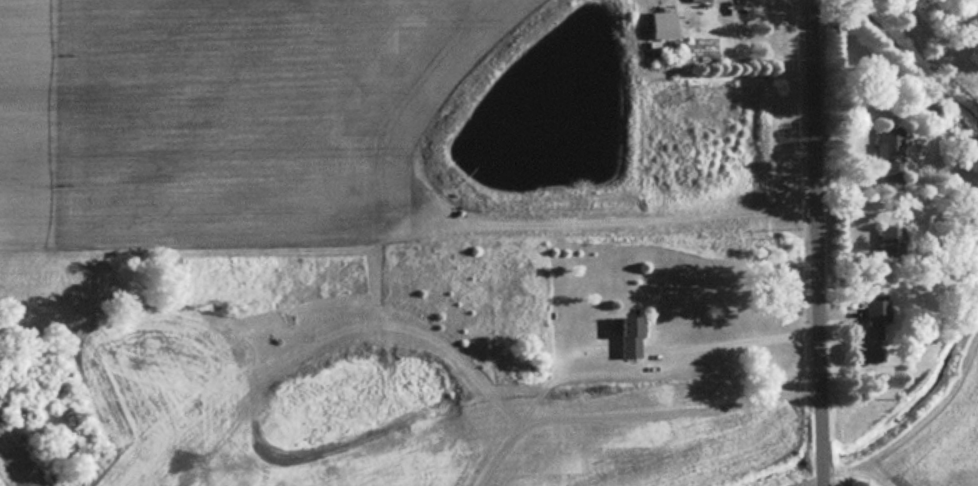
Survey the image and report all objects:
building: (887, 158)
building: (889, 242)
road: (821, 243)
building: (868, 330)
building: (625, 336)
road: (742, 340)
road: (866, 462)

